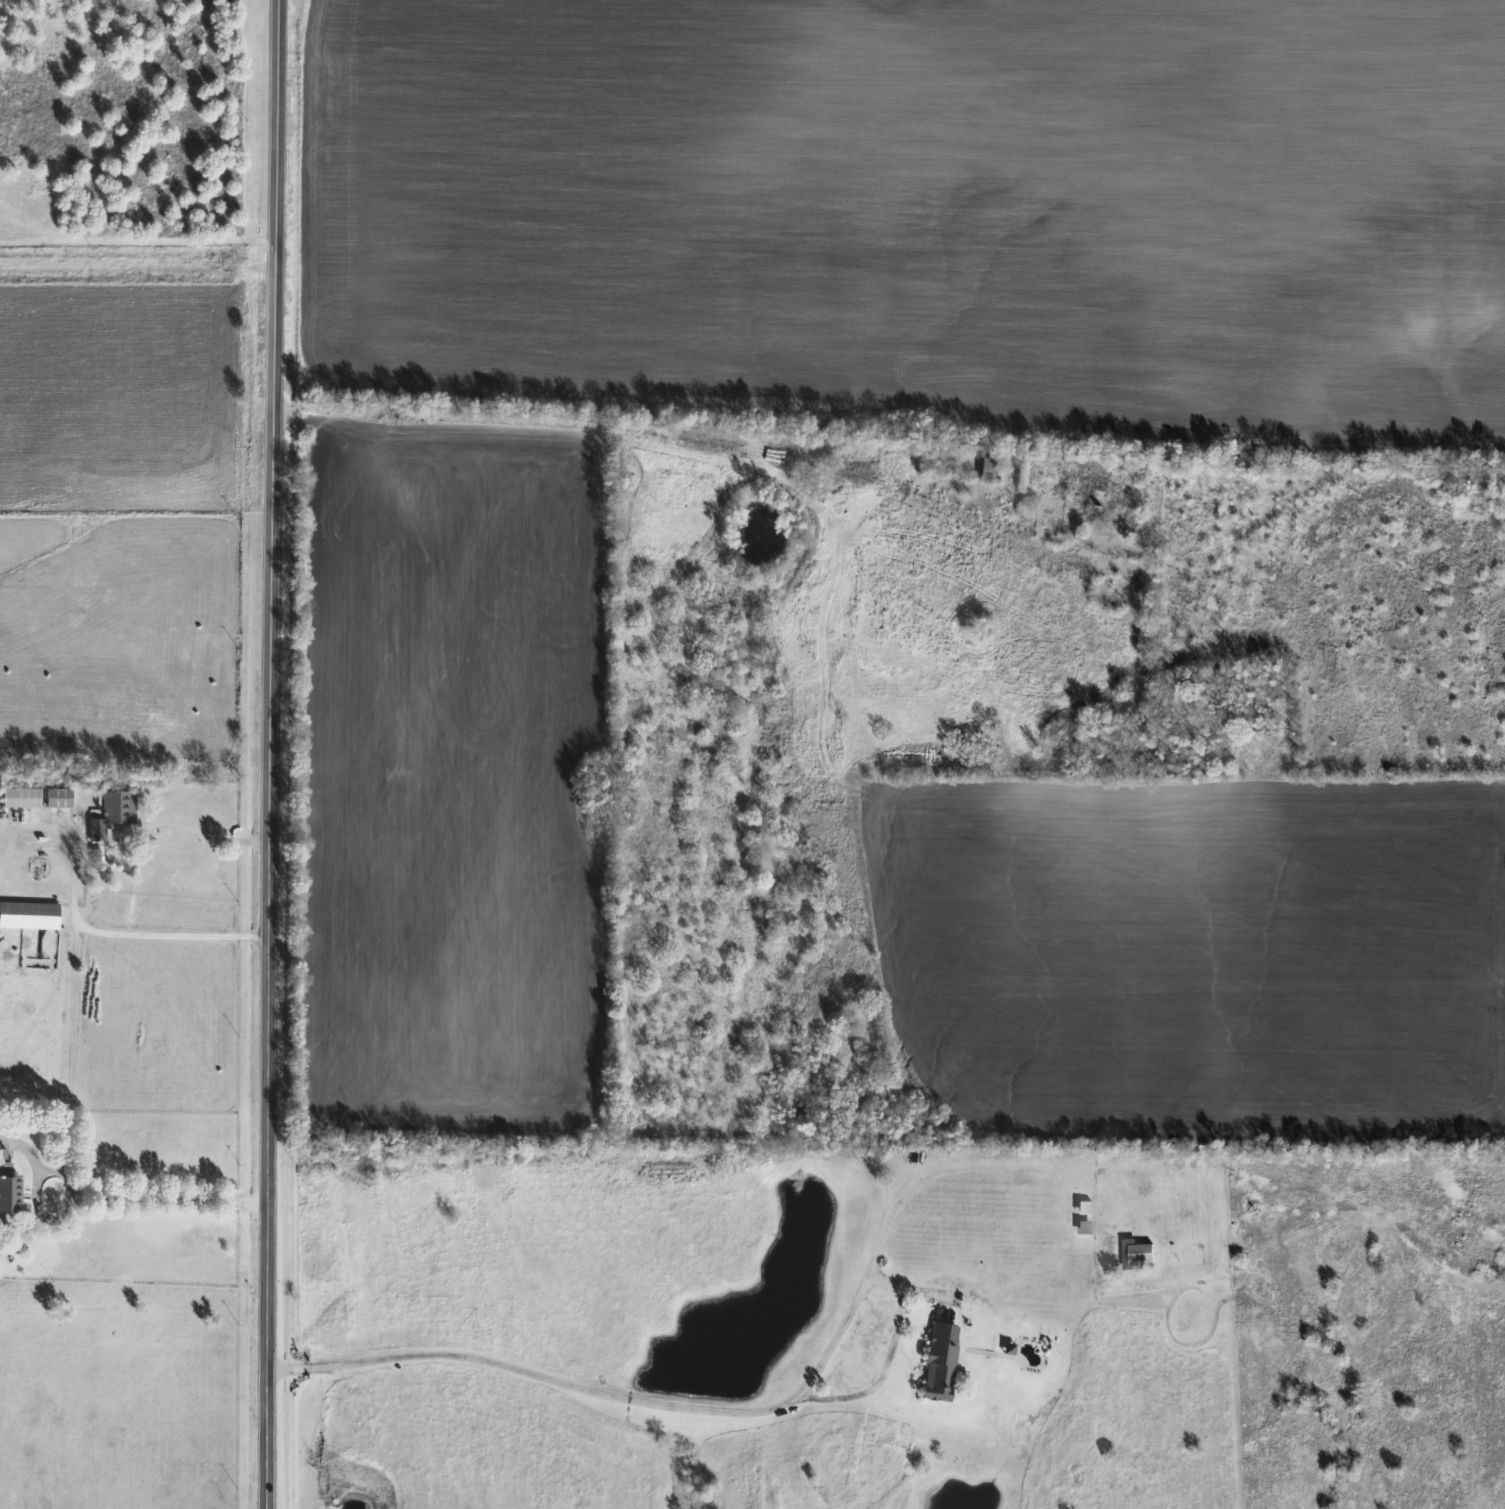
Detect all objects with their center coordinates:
road: (137, 241)
road: (665, 439)
building: (985, 470)
building: (1028, 477)
building: (1179, 482)
building: (1104, 512)
road: (269, 754)
building: (19, 799)
building: (54, 799)
building: (117, 809)
road: (181, 826)
road: (75, 863)
building: (28, 916)
road: (172, 934)
road: (69, 1062)
building: (5, 1197)
road: (169, 1201)
road: (893, 1219)
building: (1133, 1256)
building: (937, 1363)
road: (285, 1372)
road: (553, 1381)

